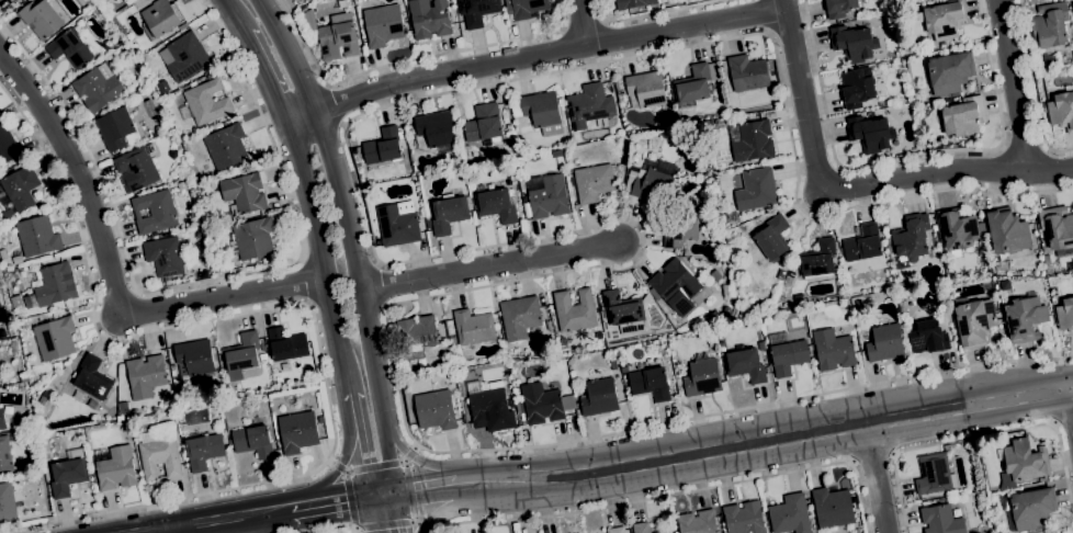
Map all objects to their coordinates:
building: (16, 0)
building: (12, 1)
building: (633, 3)
building: (1072, 3)
building: (507, 4)
building: (527, 8)
building: (838, 8)
building: (478, 11)
road: (654, 13)
road: (766, 15)
road: (234, 16)
building: (160, 18)
building: (428, 18)
building: (41, 19)
building: (944, 19)
road: (580, 23)
road: (583, 23)
building: (1050, 24)
building: (383, 25)
building: (338, 36)
building: (852, 43)
building: (941, 45)
building: (69, 47)
road: (533, 55)
building: (185, 57)
building: (121, 60)
road: (410, 60)
building: (770, 64)
building: (950, 72)
building: (747, 73)
building: (207, 77)
road: (267, 78)
building: (696, 82)
building: (192, 84)
road: (820, 87)
building: (857, 87)
road: (1013, 87)
building: (98, 88)
road: (1032, 88)
building: (645, 90)
building: (205, 103)
building: (587, 103)
road: (335, 104)
building: (512, 107)
building: (1062, 110)
building: (542, 112)
building: (504, 115)
building: (963, 116)
building: (726, 120)
building: (483, 123)
building: (709, 124)
building: (507, 127)
building: (114, 128)
building: (436, 128)
building: (407, 132)
building: (870, 133)
building: (410, 138)
building: (753, 141)
building: (226, 146)
building: (527, 146)
building: (382, 147)
building: (8, 148)
road: (994, 148)
road: (1024, 149)
building: (556, 154)
building: (405, 159)
building: (137, 167)
building: (703, 177)
road: (81, 180)
building: (651, 181)
building: (594, 182)
building: (180, 185)
building: (20, 186)
building: (754, 189)
road: (848, 191)
building: (244, 192)
building: (545, 196)
building: (494, 203)
building: (154, 212)
building: (193, 213)
building: (448, 213)
building: (7, 214)
building: (396, 226)
building: (934, 227)
building: (958, 228)
building: (679, 229)
building: (1057, 229)
building: (1007, 231)
building: (37, 237)
building: (911, 237)
building: (251, 238)
road: (541, 238)
road: (350, 240)
building: (771, 241)
building: (863, 245)
building: (165, 257)
road: (321, 258)
building: (1046, 259)
building: (19, 260)
building: (266, 260)
building: (816, 260)
building: (1070, 266)
road: (490, 268)
building: (784, 271)
building: (715, 275)
road: (208, 279)
road: (306, 280)
building: (55, 284)
building: (1005, 285)
building: (676, 286)
road: (226, 296)
building: (15, 302)
building: (29, 303)
building: (859, 304)
building: (760, 305)
road: (312, 306)
building: (574, 310)
building: (624, 310)
building: (726, 310)
building: (1065, 315)
building: (520, 317)
building: (1025, 319)
building: (973, 321)
building: (473, 327)
building: (598, 334)
building: (416, 337)
building: (451, 337)
building: (926, 337)
building: (54, 339)
building: (885, 342)
building: (286, 344)
building: (761, 345)
building: (262, 349)
building: (833, 350)
building: (787, 353)
building: (241, 356)
building: (262, 356)
building: (194, 358)
building: (571, 361)
building: (612, 363)
building: (171, 364)
building: (745, 365)
building: (56, 366)
building: (624, 368)
building: (768, 370)
building: (145, 376)
building: (92, 378)
building: (702, 378)
building: (650, 383)
building: (679, 386)
road: (1069, 386)
road: (1069, 389)
building: (599, 397)
building: (541, 404)
building: (486, 406)
road: (1069, 407)
building: (519, 408)
building: (7, 409)
building: (434, 410)
building: (320, 416)
building: (1, 420)
building: (125, 422)
road: (1061, 422)
building: (182, 427)
building: (297, 431)
road: (980, 435)
road: (773, 439)
building: (252, 442)
road: (362, 446)
building: (203, 450)
building: (159, 453)
building: (4, 456)
road: (871, 458)
building: (1024, 461)
road: (340, 462)
road: (419, 464)
road: (376, 466)
building: (116, 468)
building: (68, 474)
building: (933, 474)
road: (874, 477)
road: (408, 481)
road: (350, 488)
road: (434, 491)
road: (678, 492)
road: (337, 501)
building: (7, 502)
road: (450, 504)
building: (832, 508)
building: (1032, 508)
road: (389, 514)
building: (789, 515)
building: (744, 518)
road: (230, 520)
building: (940, 520)
building: (697, 522)
road: (396, 523)
building: (641, 528)
road: (345, 530)
building: (617, 530)
building: (664, 531)
road: (163, 532)
road: (170, 532)

